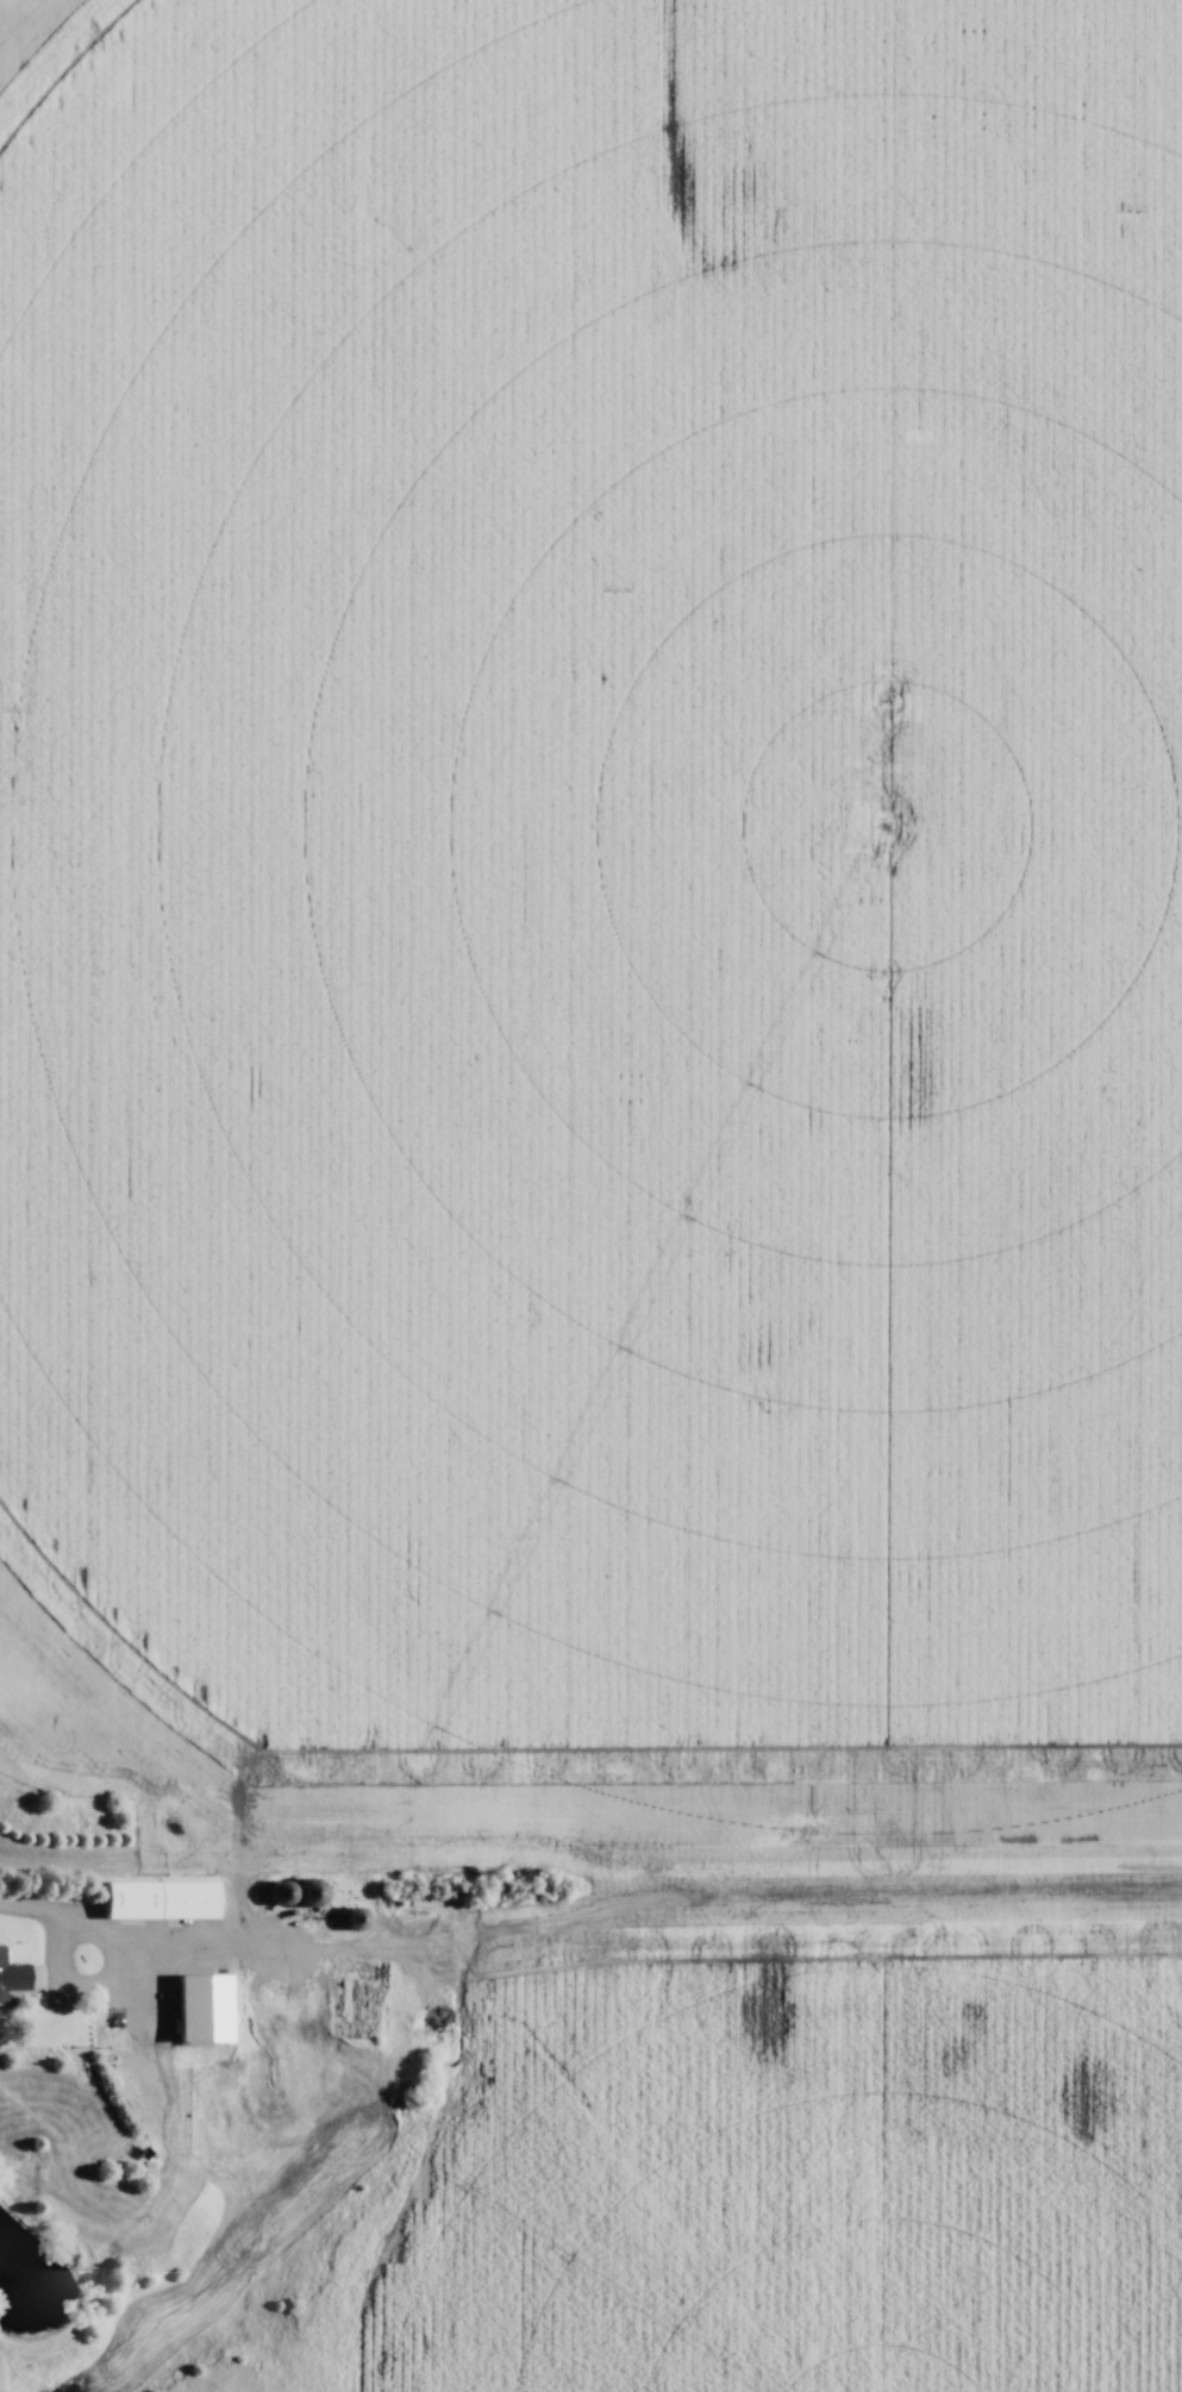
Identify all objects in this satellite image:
building: (290, 1892)
building: (317, 1893)
building: (194, 1897)
building: (136, 1898)
road: (29, 1908)
building: (362, 1920)
road: (94, 1929)
building: (13, 1977)

